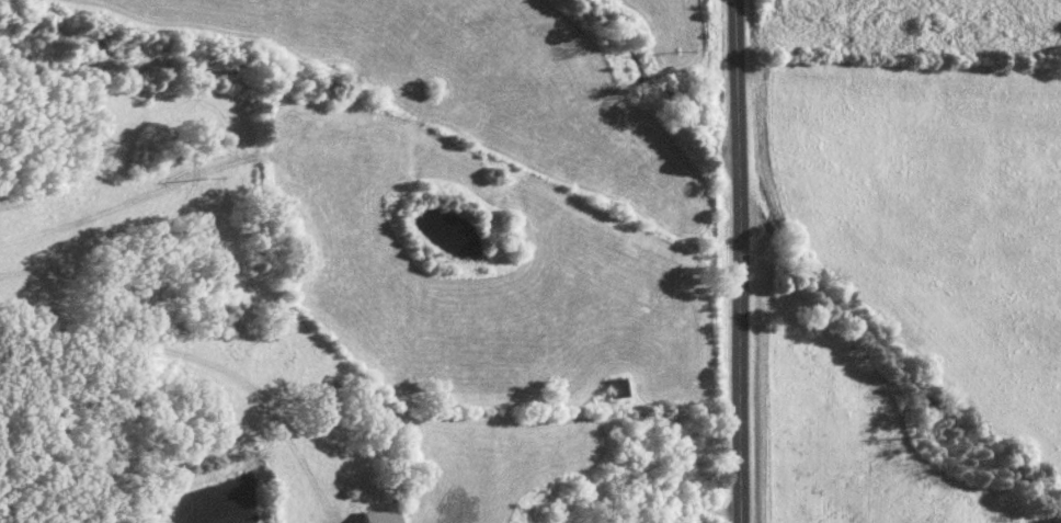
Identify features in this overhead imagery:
road: (743, 261)
building: (624, 387)
building: (387, 516)

